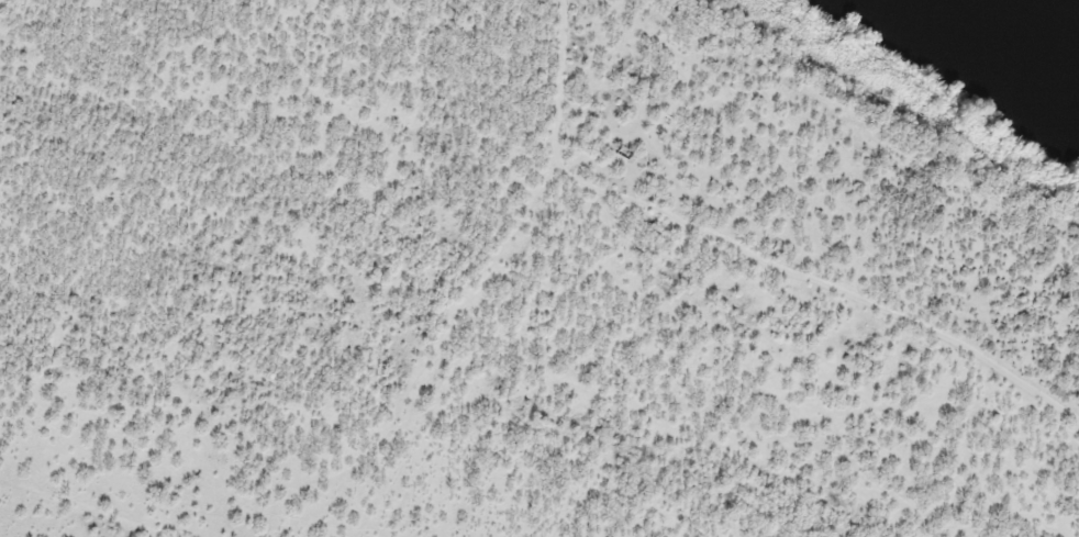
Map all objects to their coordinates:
river: (1035, 29)

